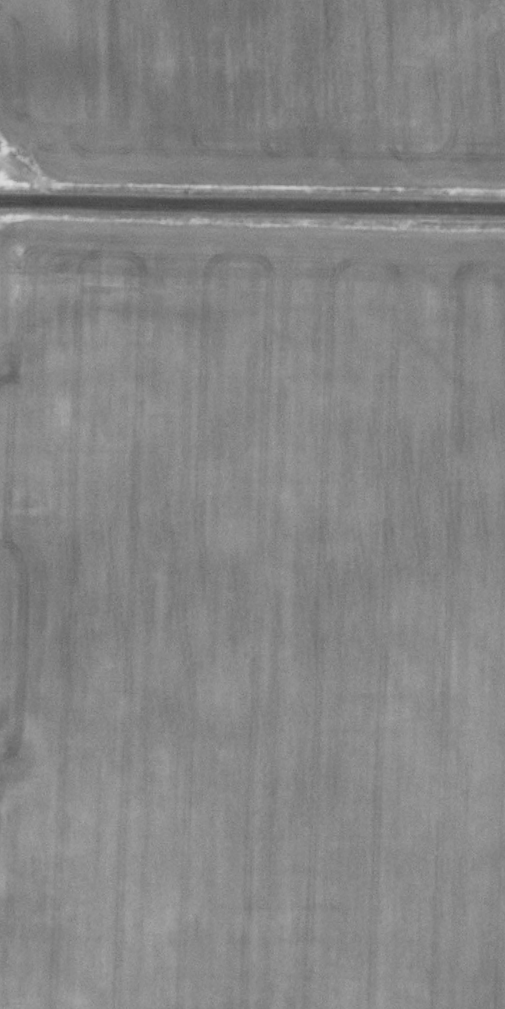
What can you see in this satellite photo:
road: (252, 200)

